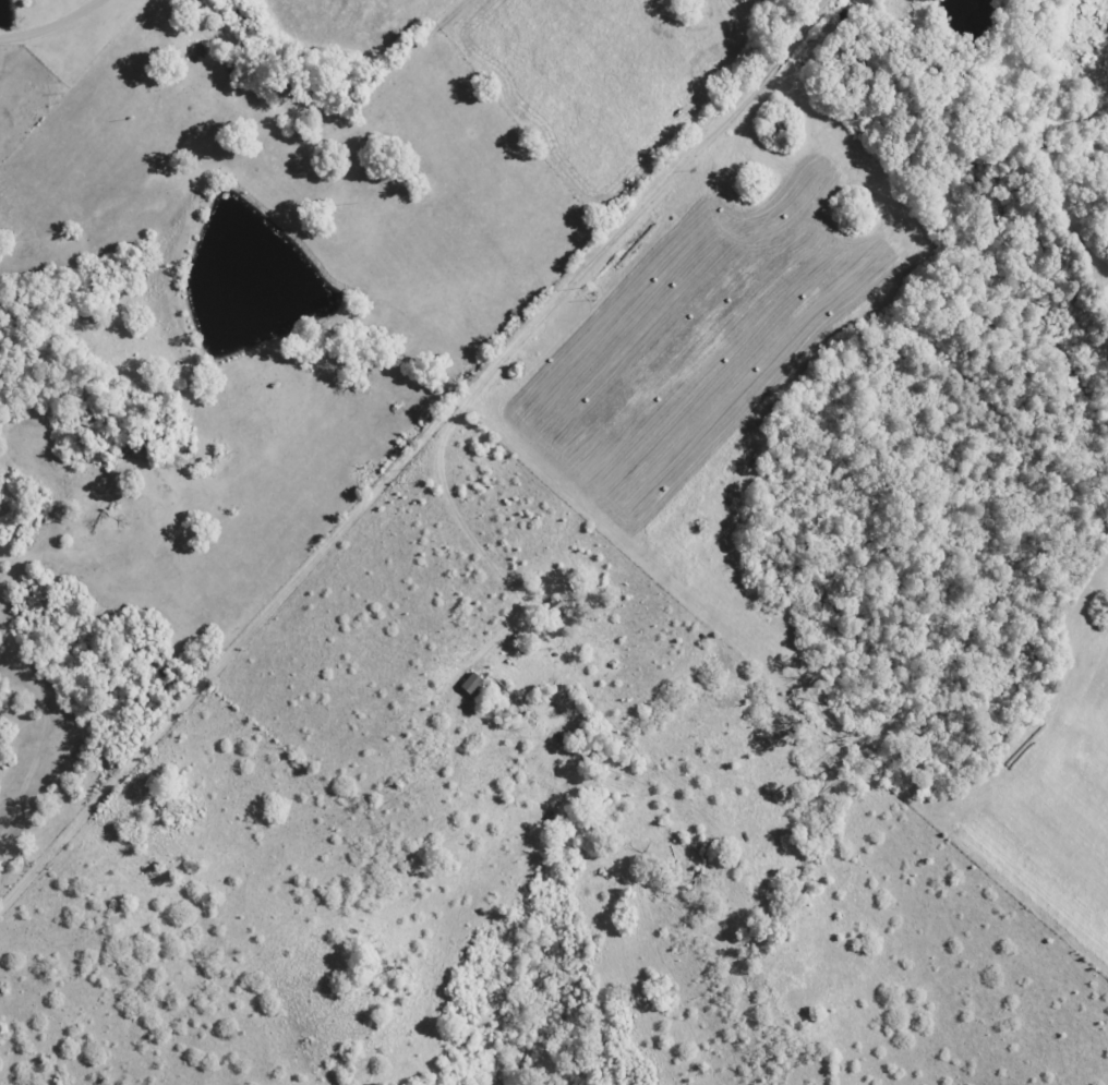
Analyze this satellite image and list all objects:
road: (527, 291)
building: (546, 612)
building: (463, 686)

